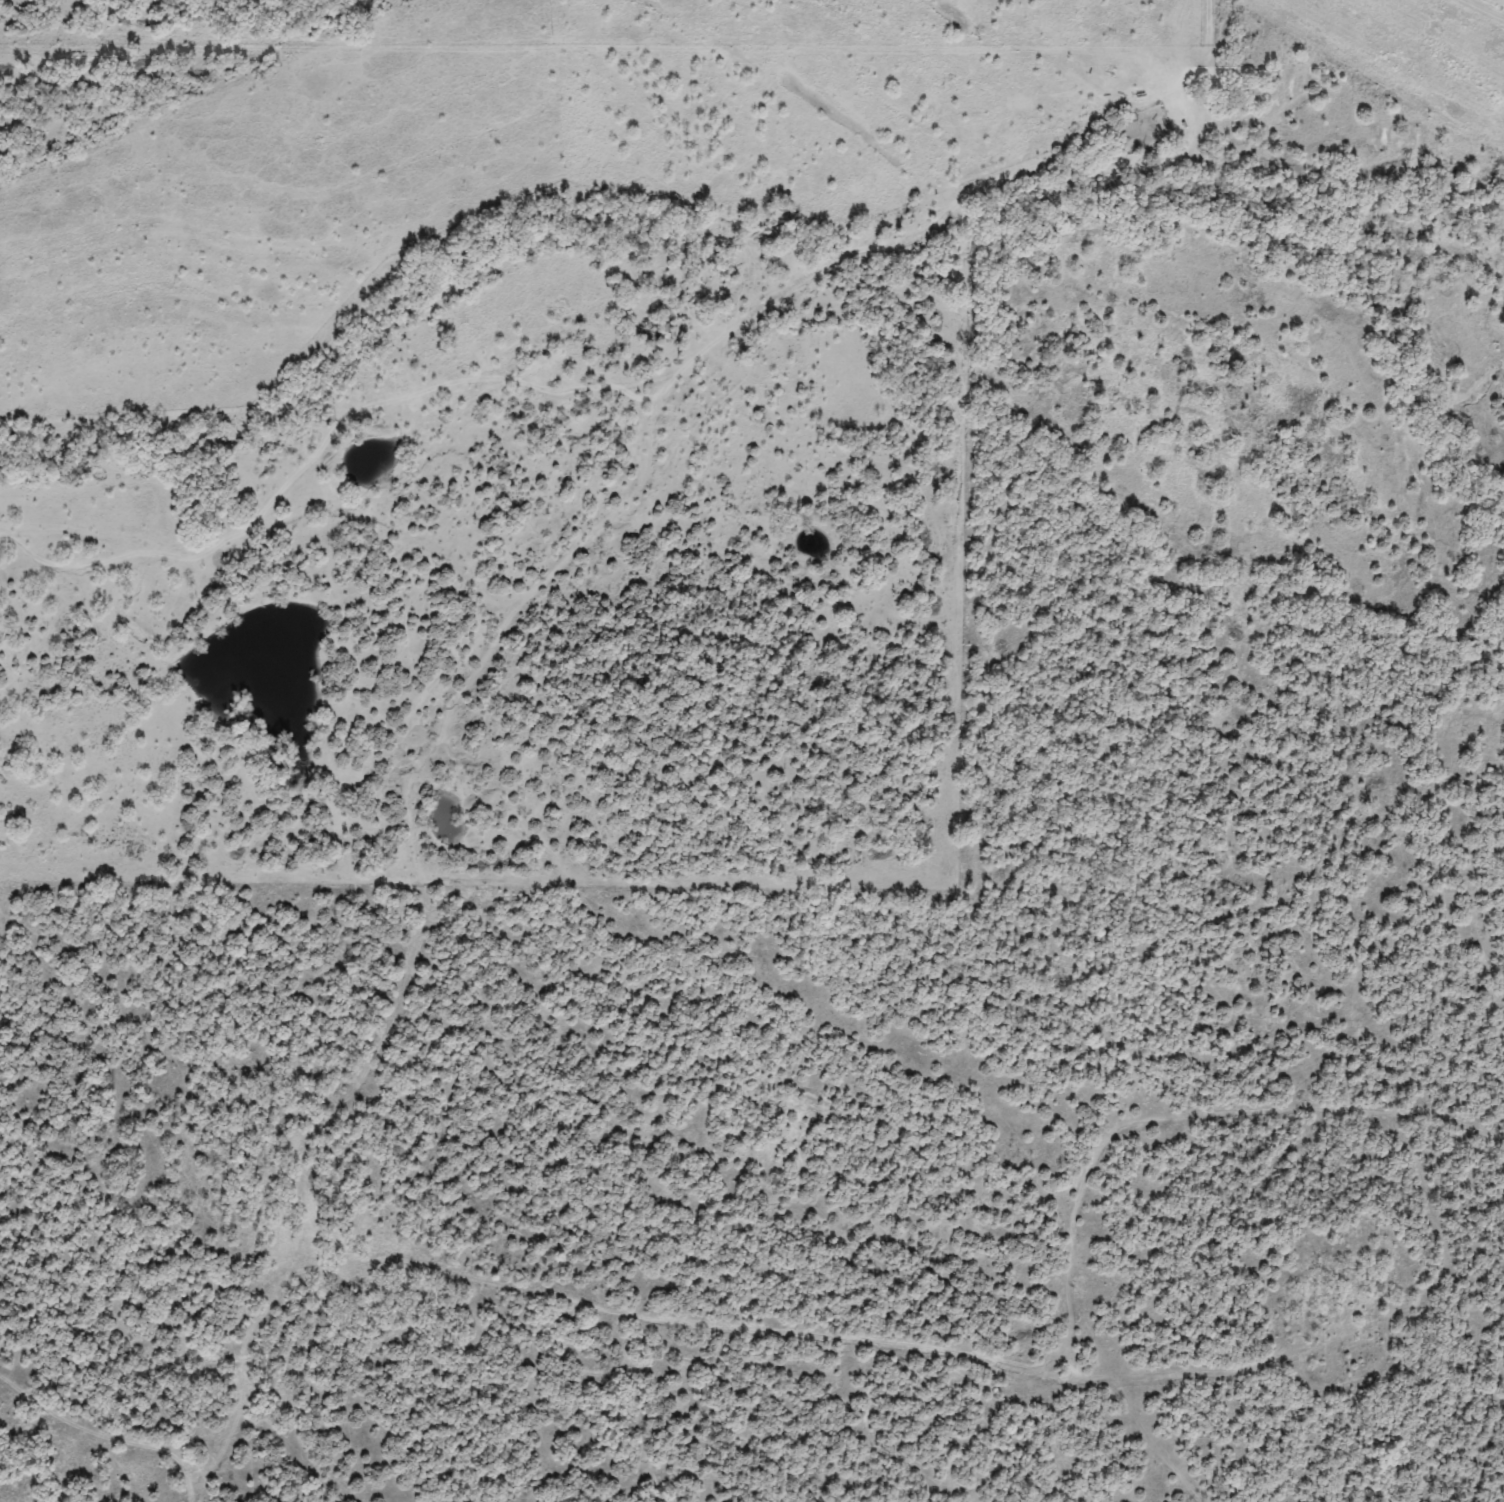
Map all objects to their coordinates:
building: (1128, 127)
building: (654, 330)

